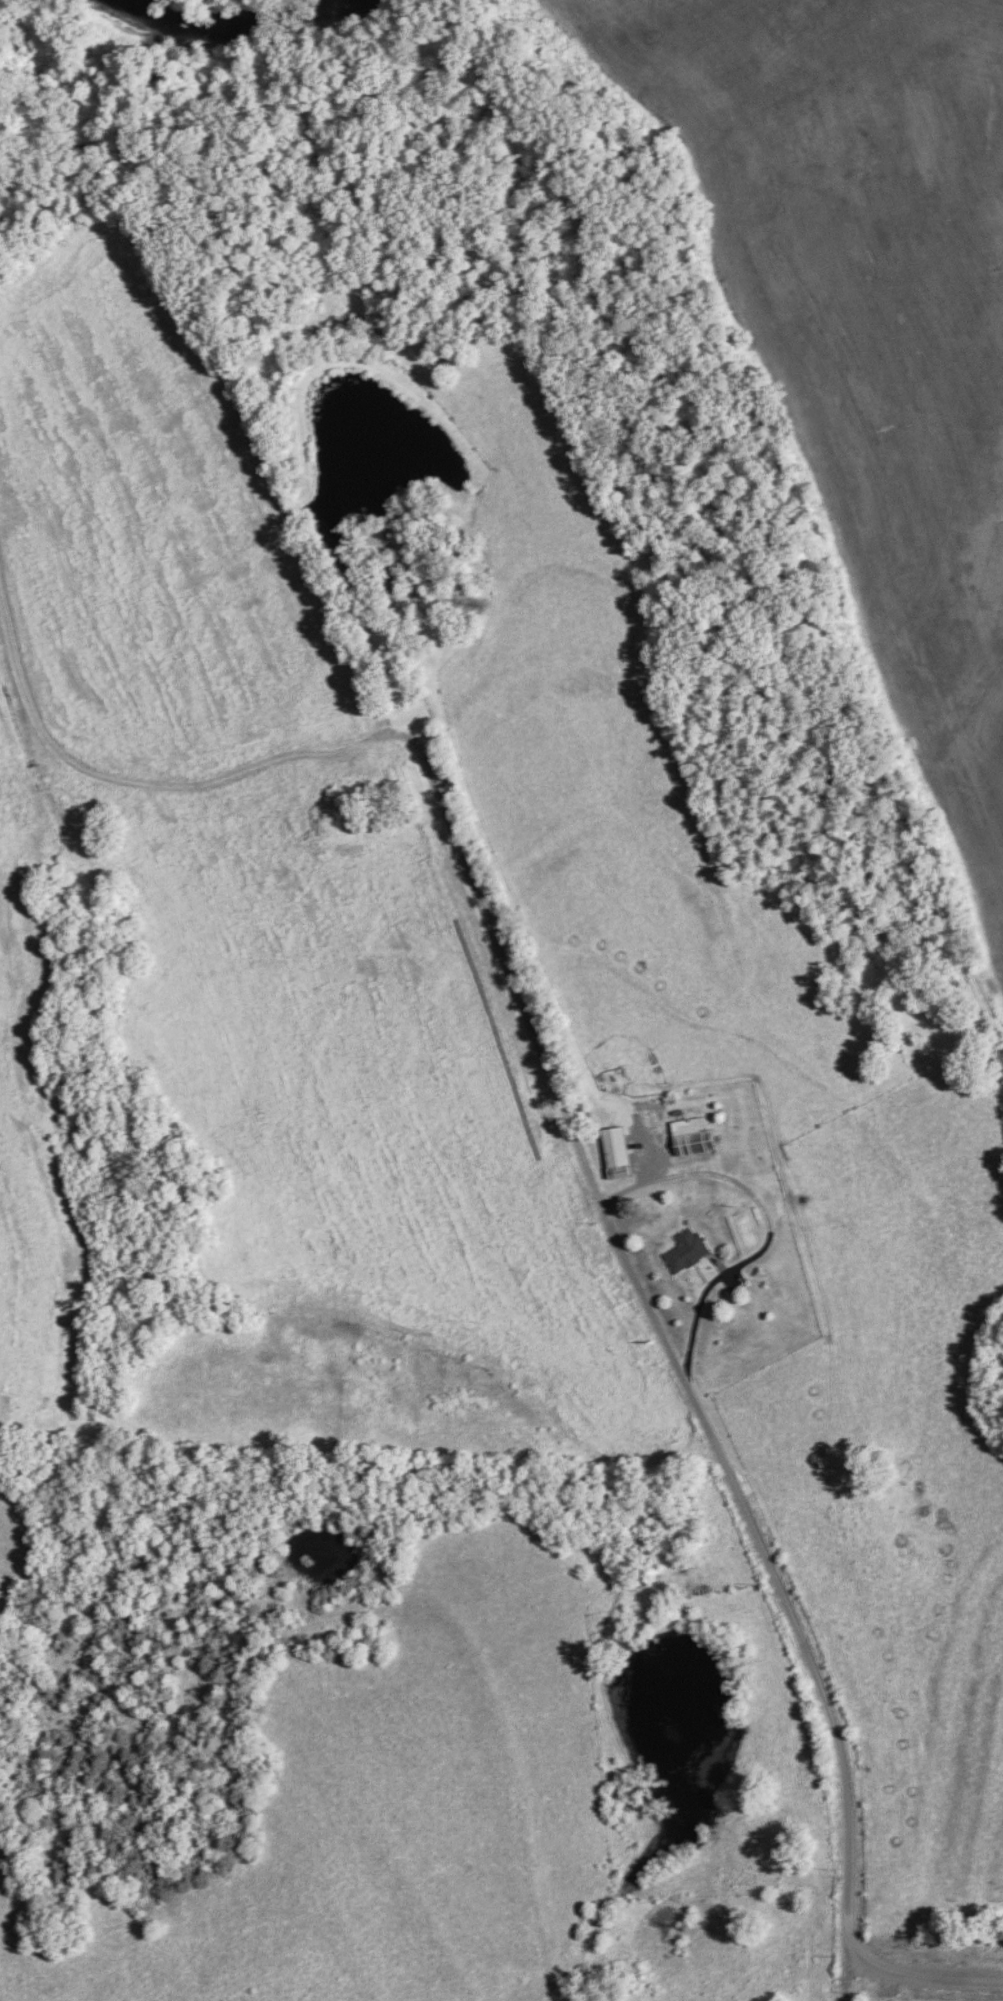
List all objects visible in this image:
river: (227, 22)
building: (383, 584)
building: (690, 1137)
building: (614, 1152)
road: (768, 1228)
building: (685, 1250)
road: (663, 1338)

